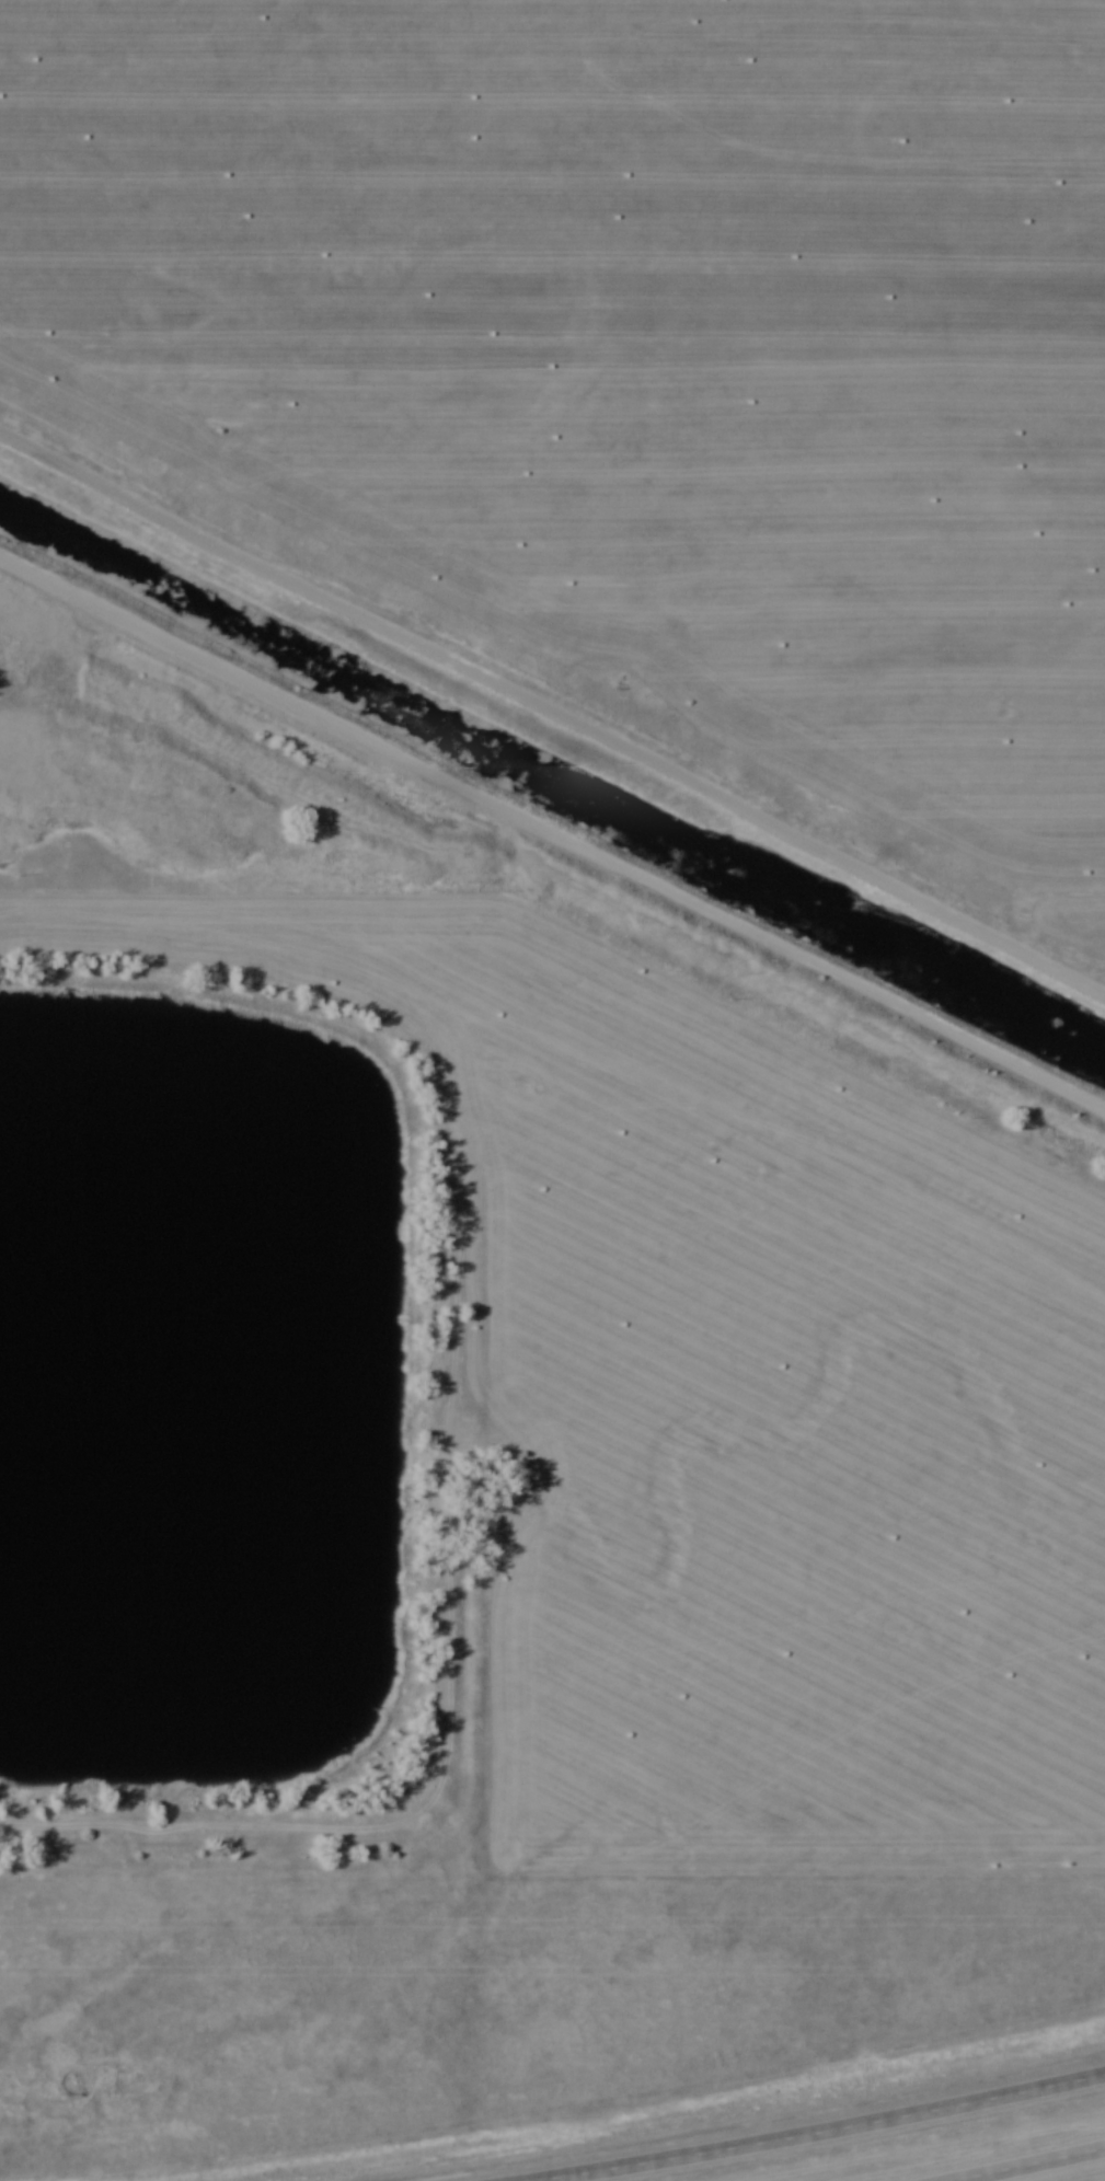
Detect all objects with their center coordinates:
road: (553, 715)
road: (552, 838)
road: (814, 2131)
road: (1031, 2165)

